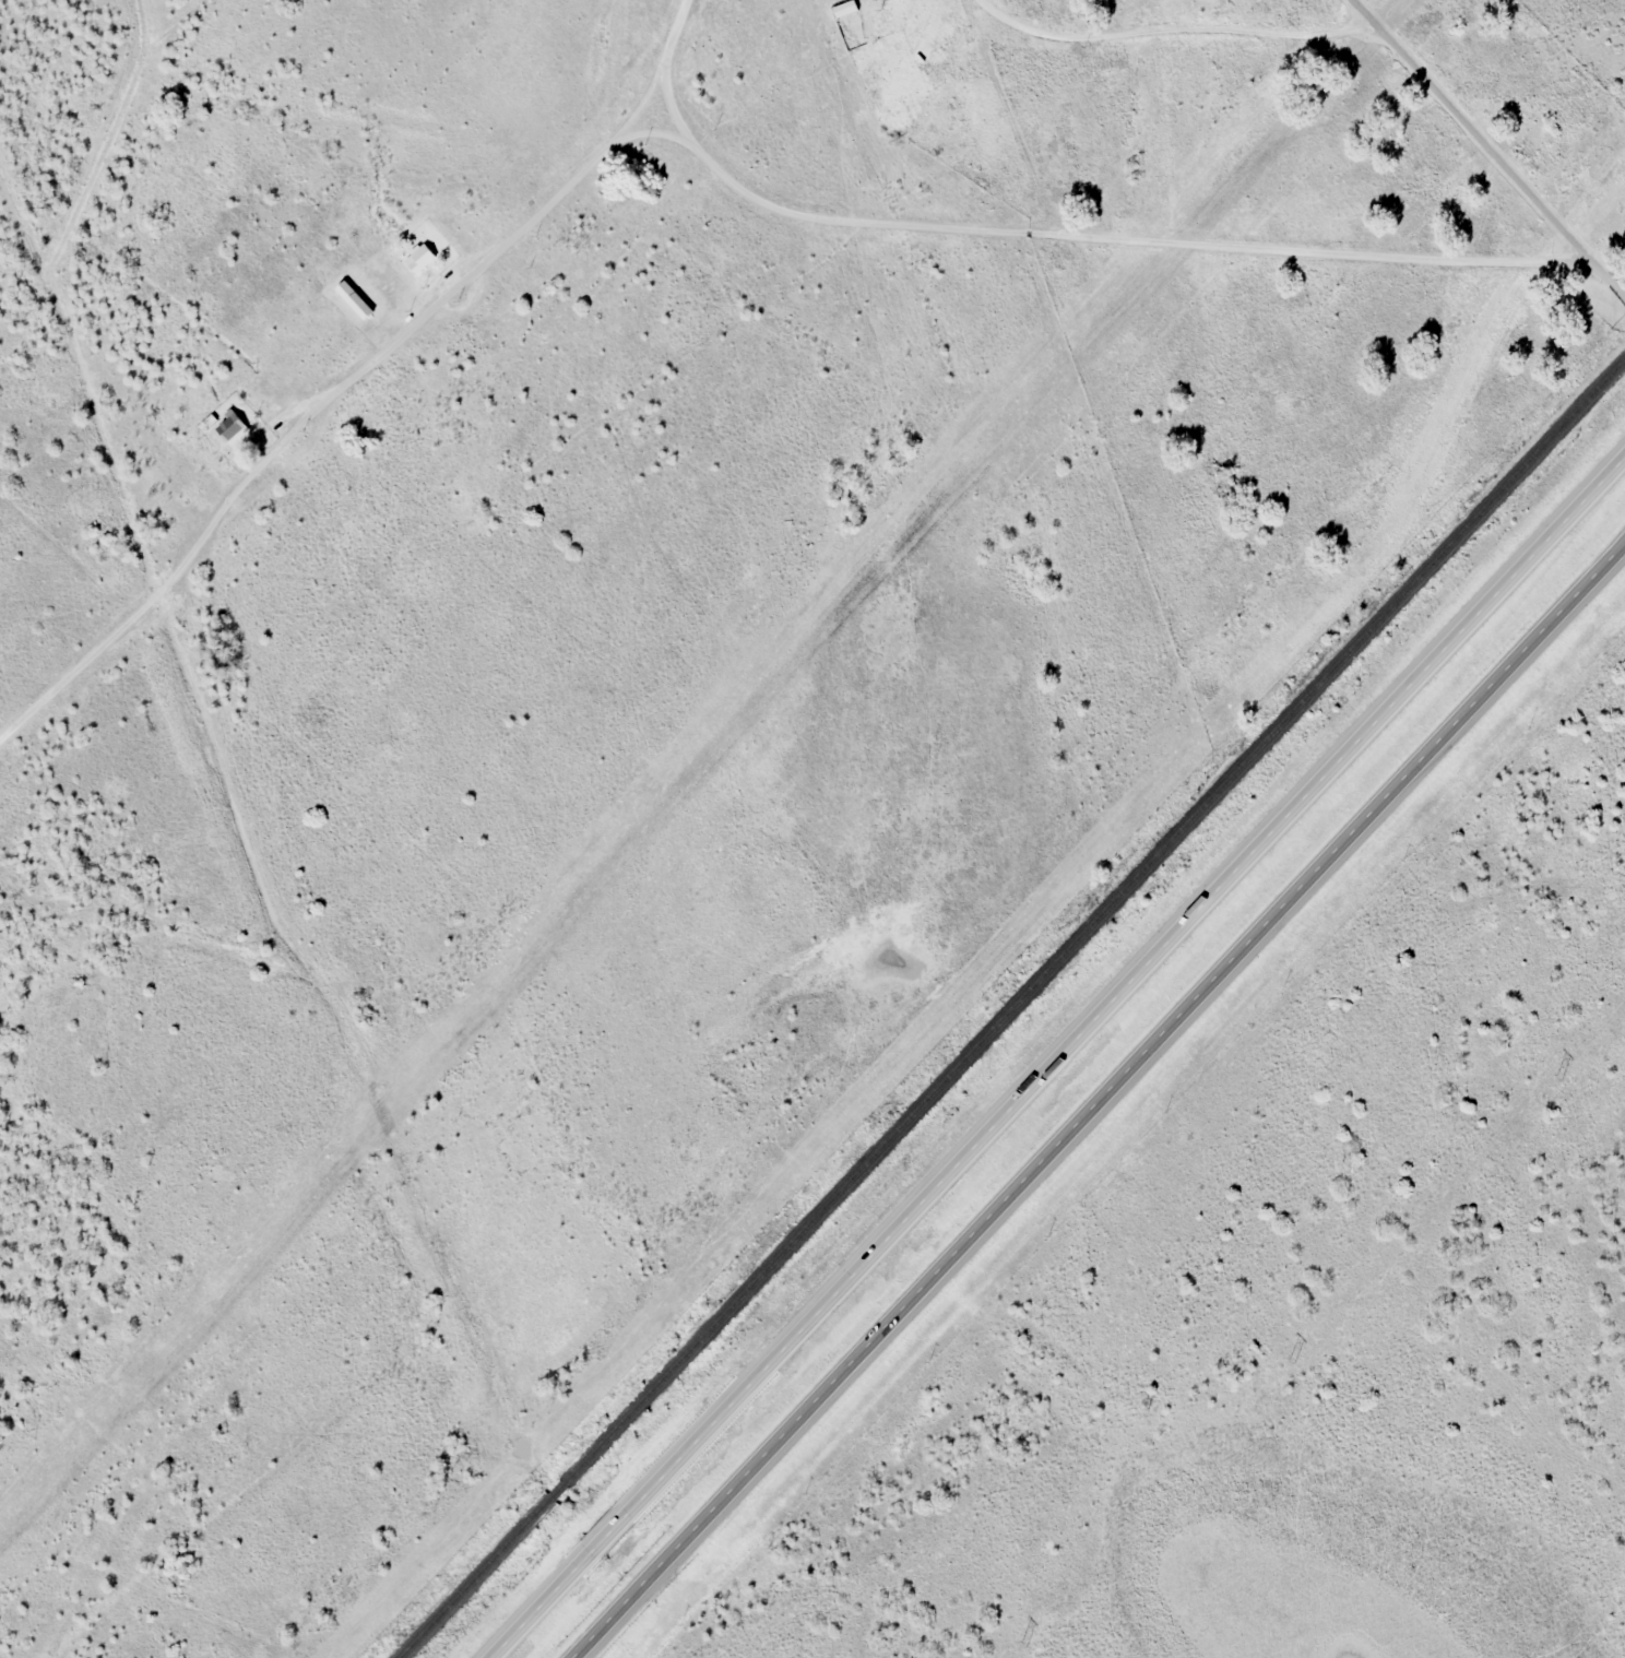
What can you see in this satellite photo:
road: (664, 57)
road: (1483, 149)
road: (1100, 238)
building: (420, 259)
building: (354, 300)
building: (229, 427)
railway: (1011, 1009)
road: (1060, 1059)
power tower: (1561, 1077)
road: (1101, 1101)
power tower: (1293, 1360)
building: (734, 1389)
power tower: (1025, 1645)

